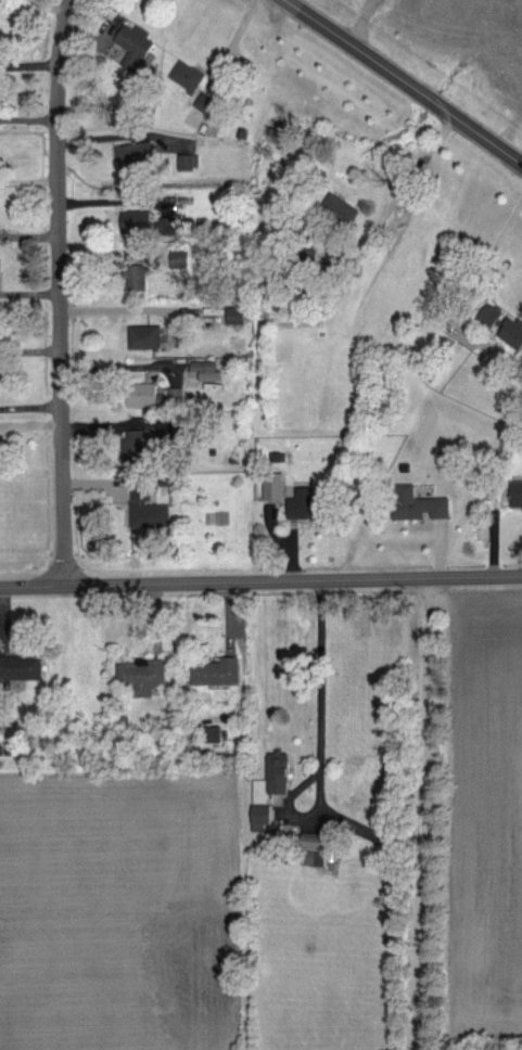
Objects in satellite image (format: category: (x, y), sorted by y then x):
road: (305, 5)
road: (320, 10)
building: (138, 42)
road: (234, 42)
building: (192, 75)
road: (404, 82)
building: (204, 101)
building: (139, 152)
building: (192, 159)
road: (405, 188)
building: (189, 197)
road: (112, 202)
building: (176, 204)
building: (346, 216)
building: (140, 220)
building: (170, 227)
building: (497, 233)
building: (186, 257)
building: (139, 274)
road: (59, 291)
road: (473, 292)
building: (208, 309)
road: (118, 311)
building: (239, 315)
building: (493, 315)
building: (1, 326)
building: (514, 331)
building: (148, 335)
road: (118, 364)
building: (181, 371)
building: (215, 373)
building: (180, 390)
building: (145, 393)
building: (139, 446)
building: (239, 460)
building: (169, 479)
building: (278, 485)
building: (145, 486)
building: (518, 489)
building: (309, 502)
building: (422, 503)
building: (153, 512)
road: (260, 579)
building: (22, 665)
building: (220, 669)
building: (147, 673)
road: (322, 690)
building: (212, 743)
building: (3, 750)
building: (14, 750)
building: (283, 772)
road: (420, 812)
building: (265, 816)
crop: (485, 816)
building: (372, 833)
building: (317, 840)
building: (315, 854)
road: (67, 874)
road: (135, 964)

